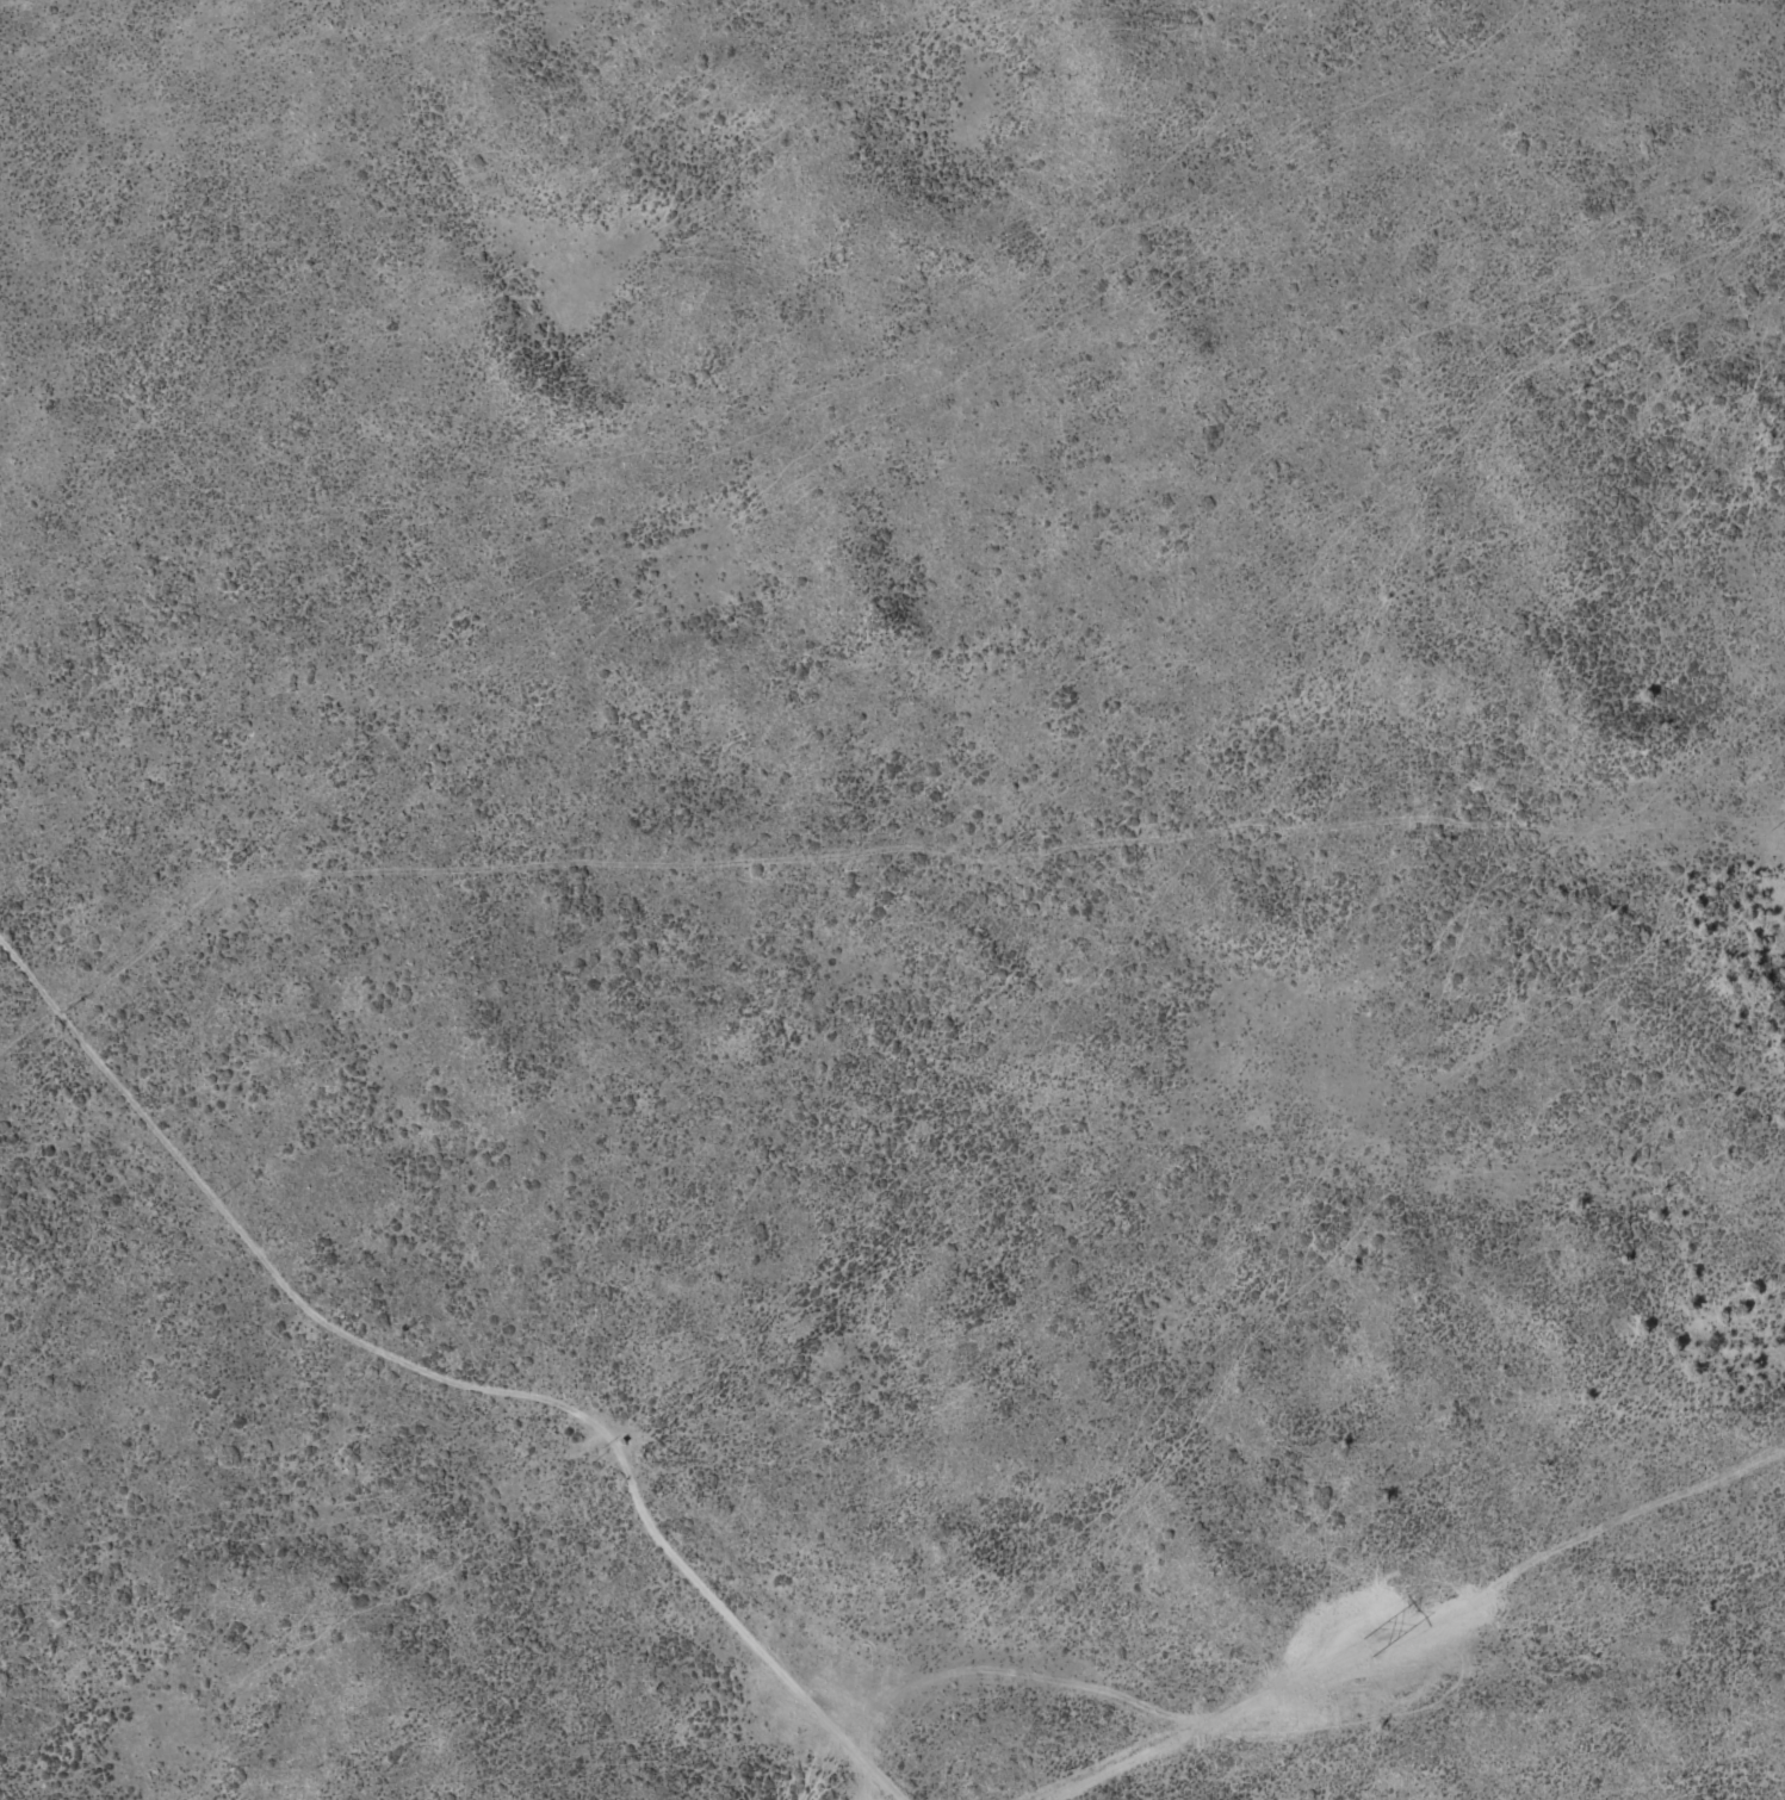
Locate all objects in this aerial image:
power tower: (1380, 1635)

